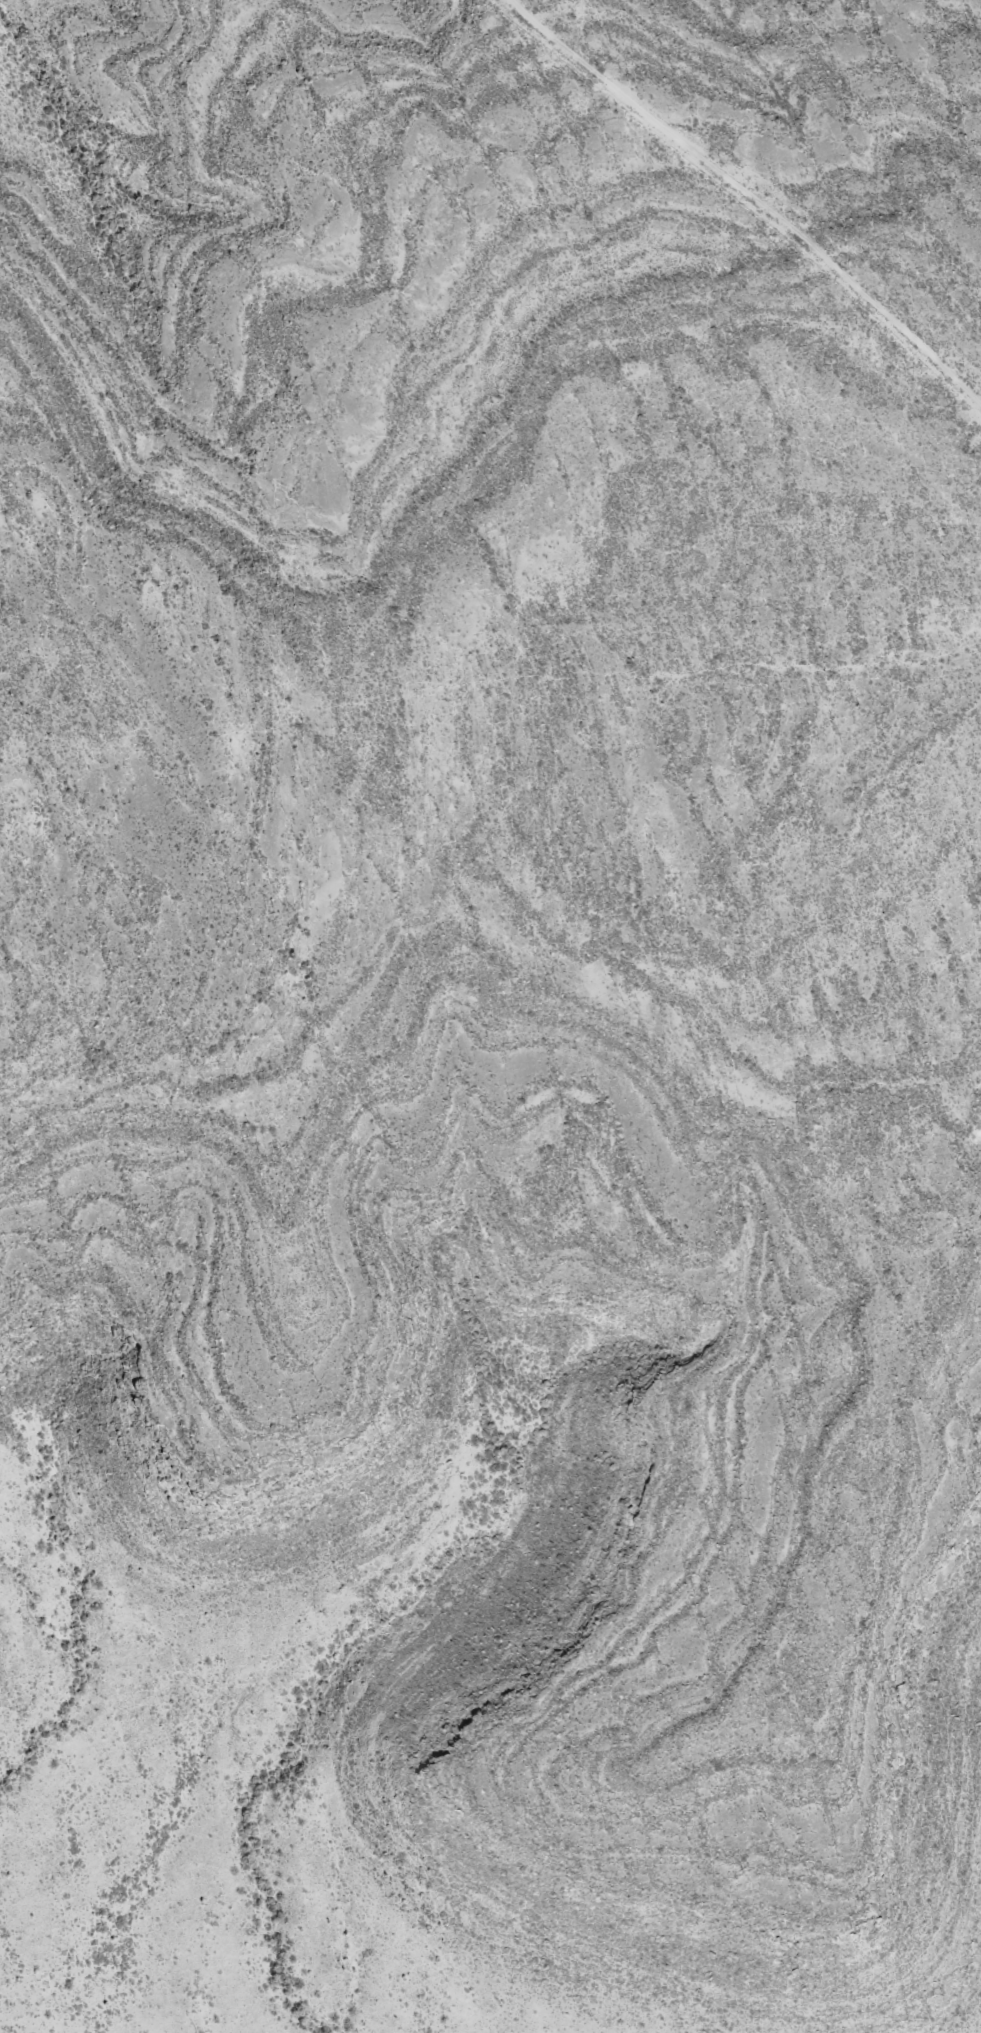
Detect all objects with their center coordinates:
road: (756, 192)

